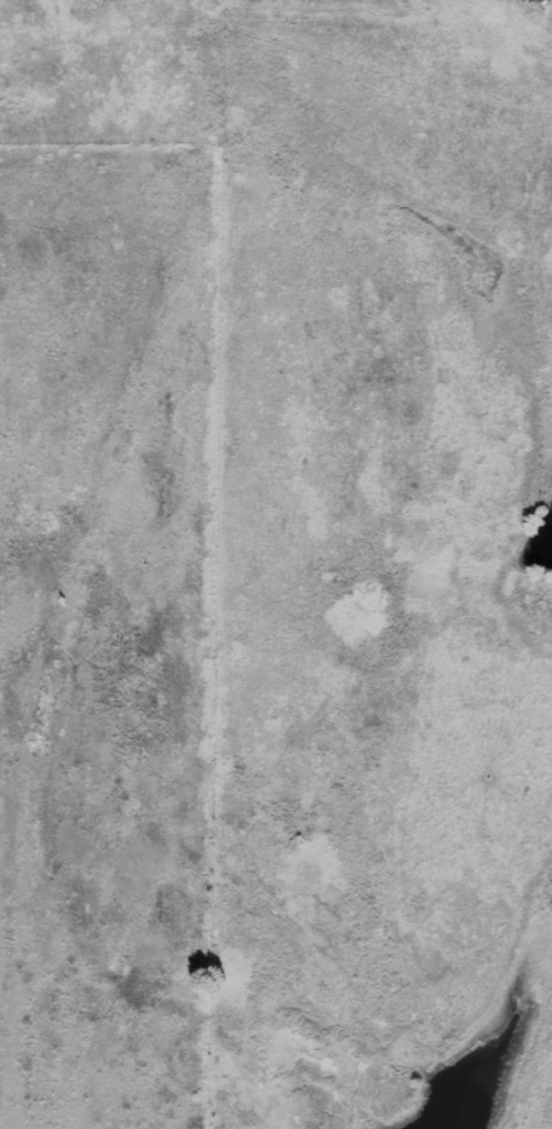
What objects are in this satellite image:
road: (551, 7)

